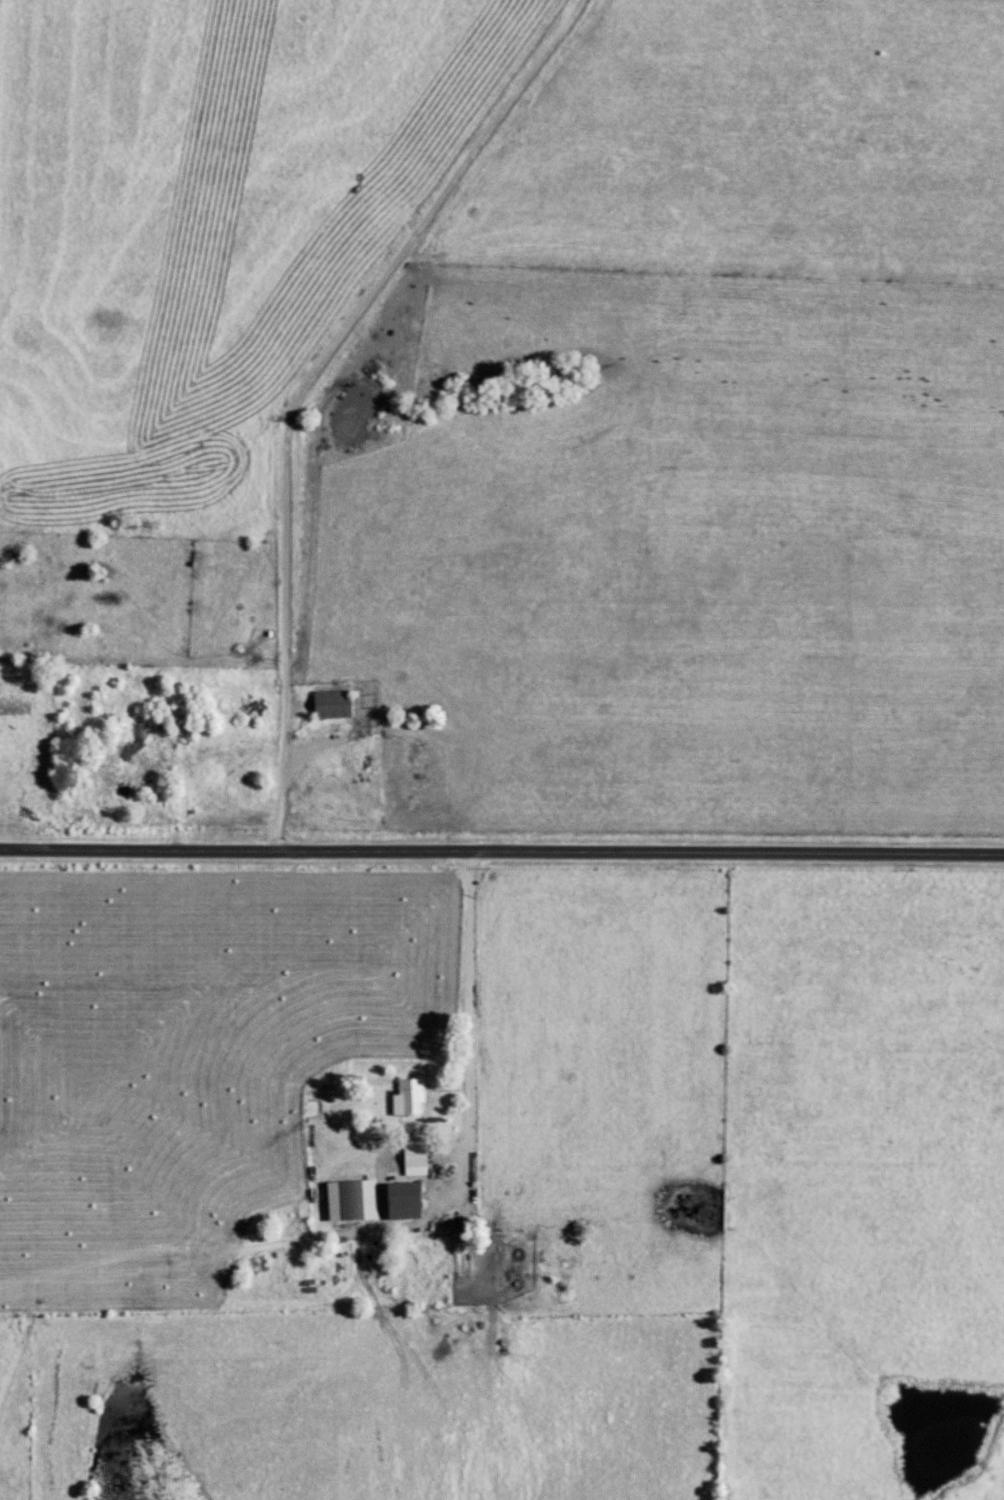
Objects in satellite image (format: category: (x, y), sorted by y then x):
road: (308, 382)
building: (338, 701)
road: (501, 852)
road: (471, 1034)
building: (414, 1095)
building: (420, 1155)
building: (356, 1198)

